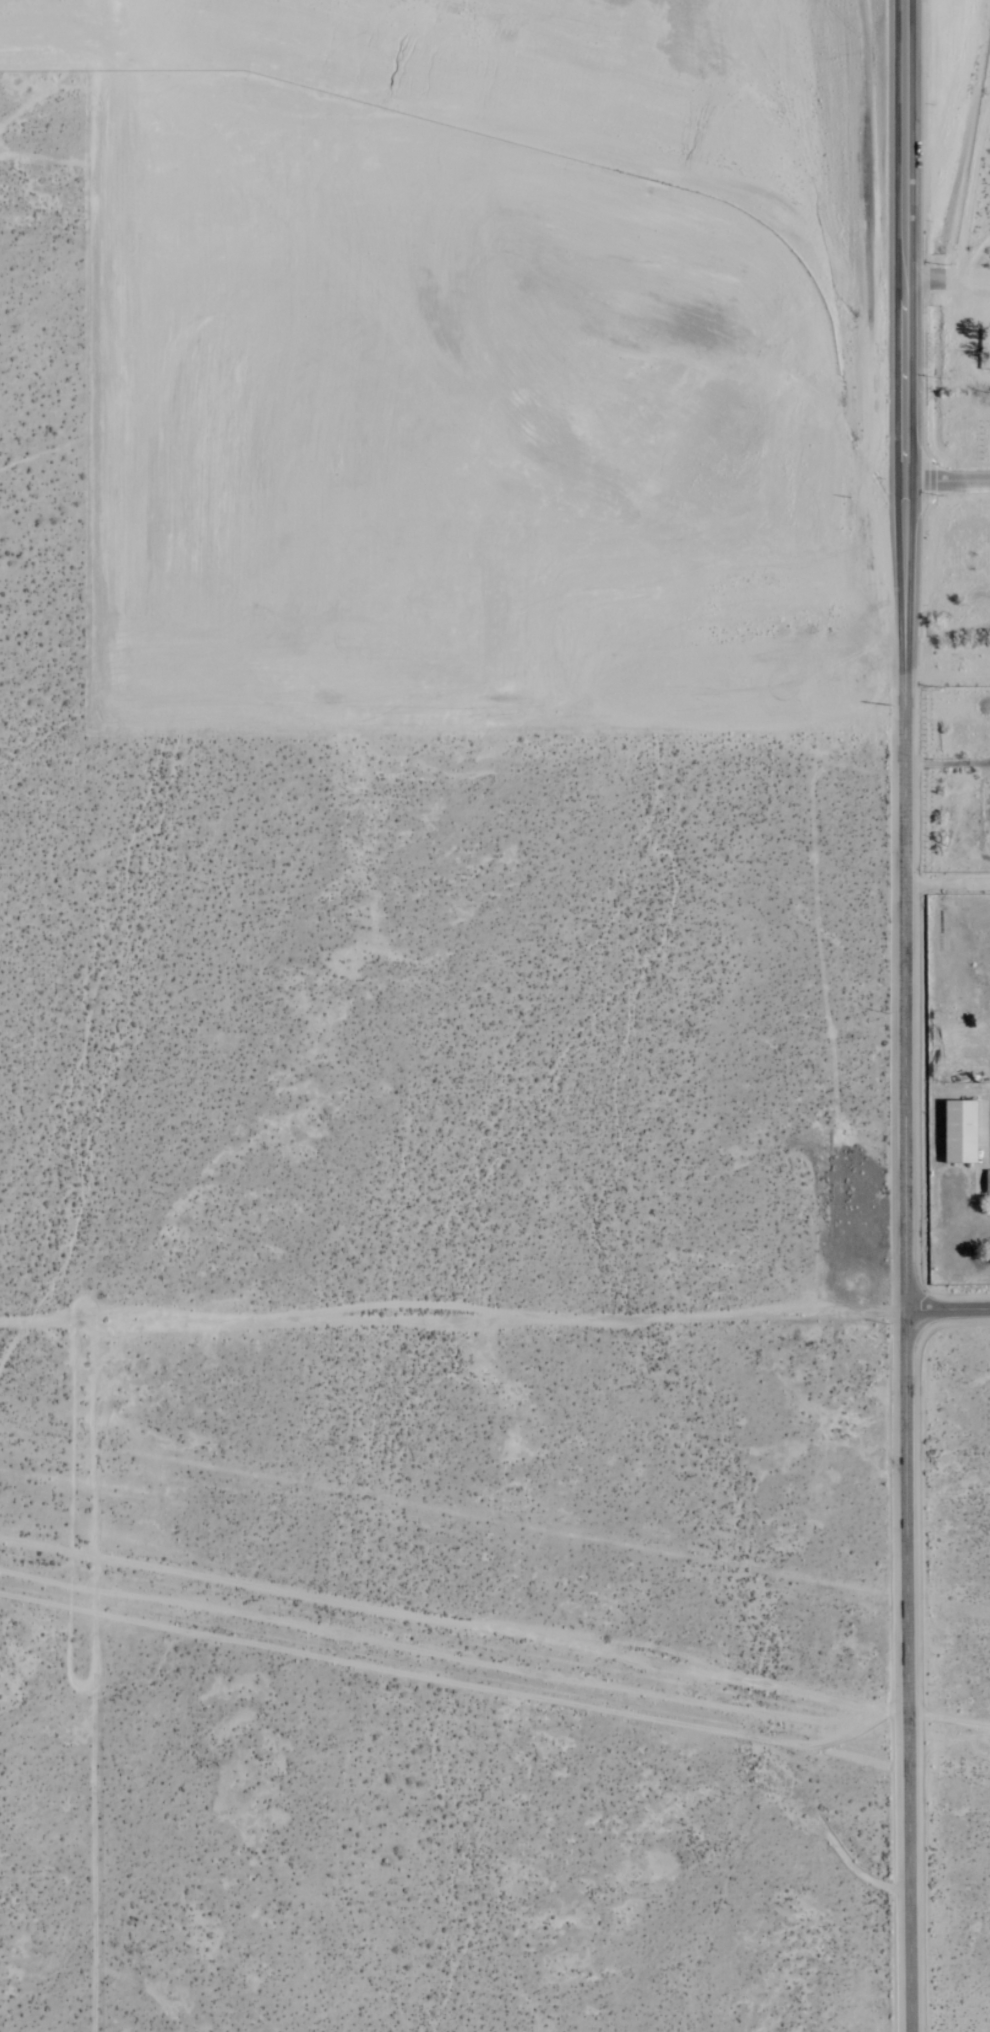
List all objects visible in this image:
road: (975, 258)
road: (950, 279)
road: (951, 480)
road: (911, 655)
road: (950, 868)
building: (956, 1134)
building: (986, 1185)
road: (948, 1311)
road: (452, 1314)
road: (912, 1672)

